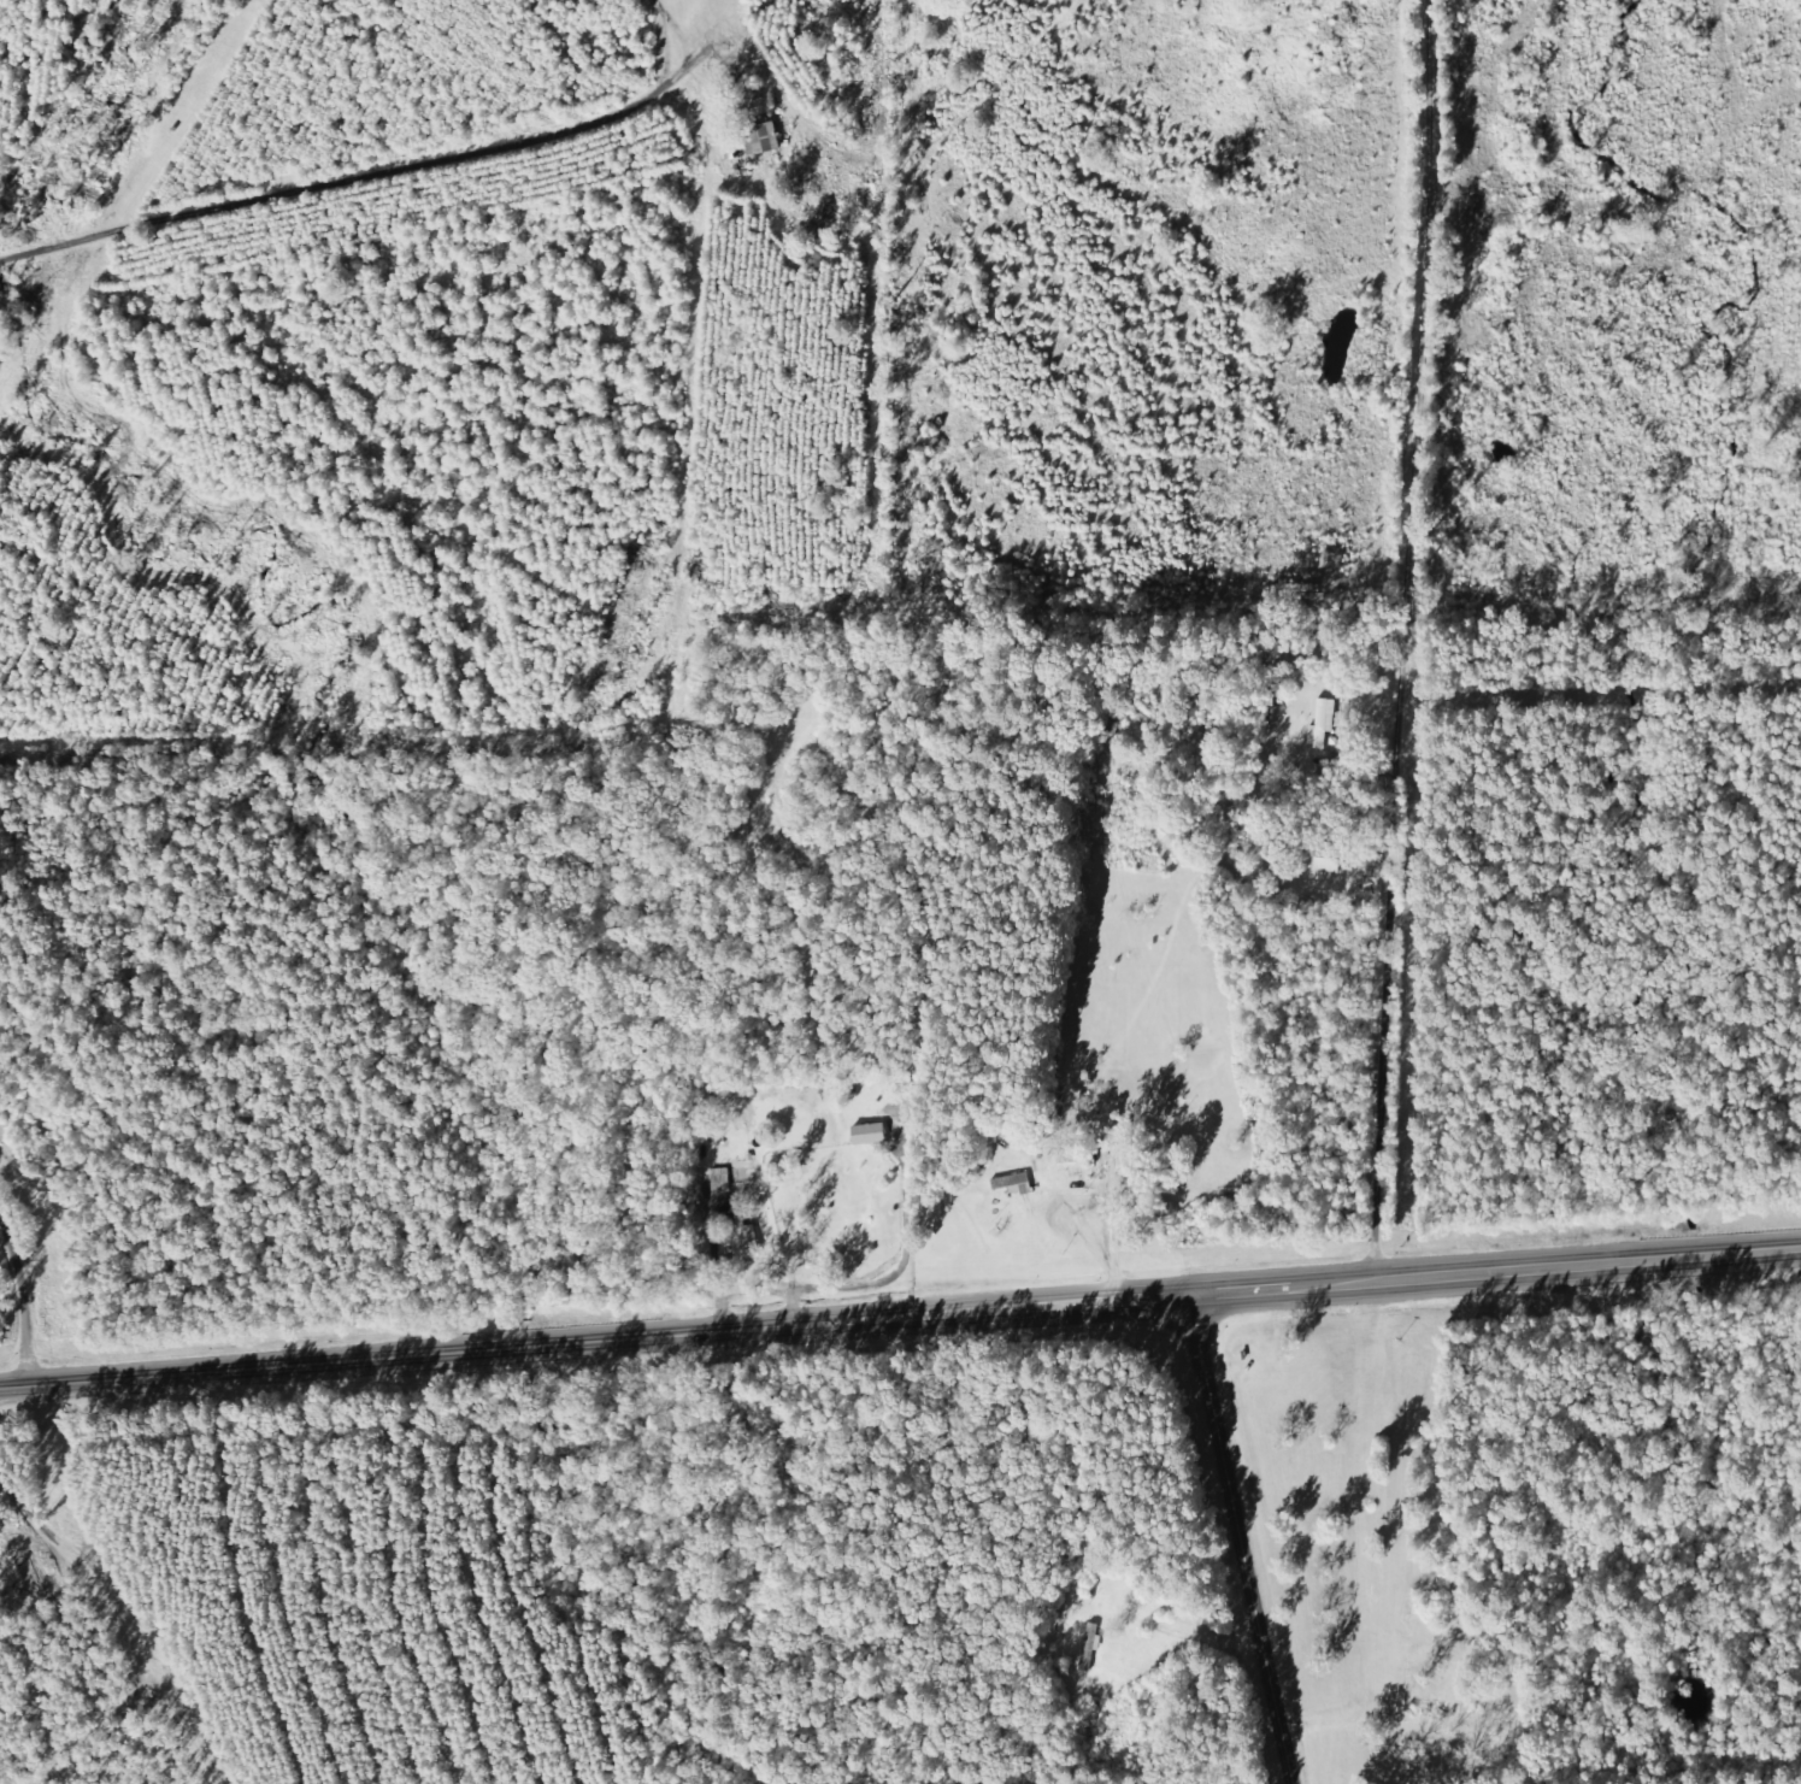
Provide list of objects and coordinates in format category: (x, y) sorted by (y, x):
building: (758, 139)
road: (378, 193)
road: (1436, 437)
building: (1320, 723)
road: (1394, 858)
building: (865, 1135)
building: (1075, 1164)
building: (1011, 1184)
road: (1495, 1273)
road: (41, 1276)
road: (594, 1337)
road: (1241, 1539)

